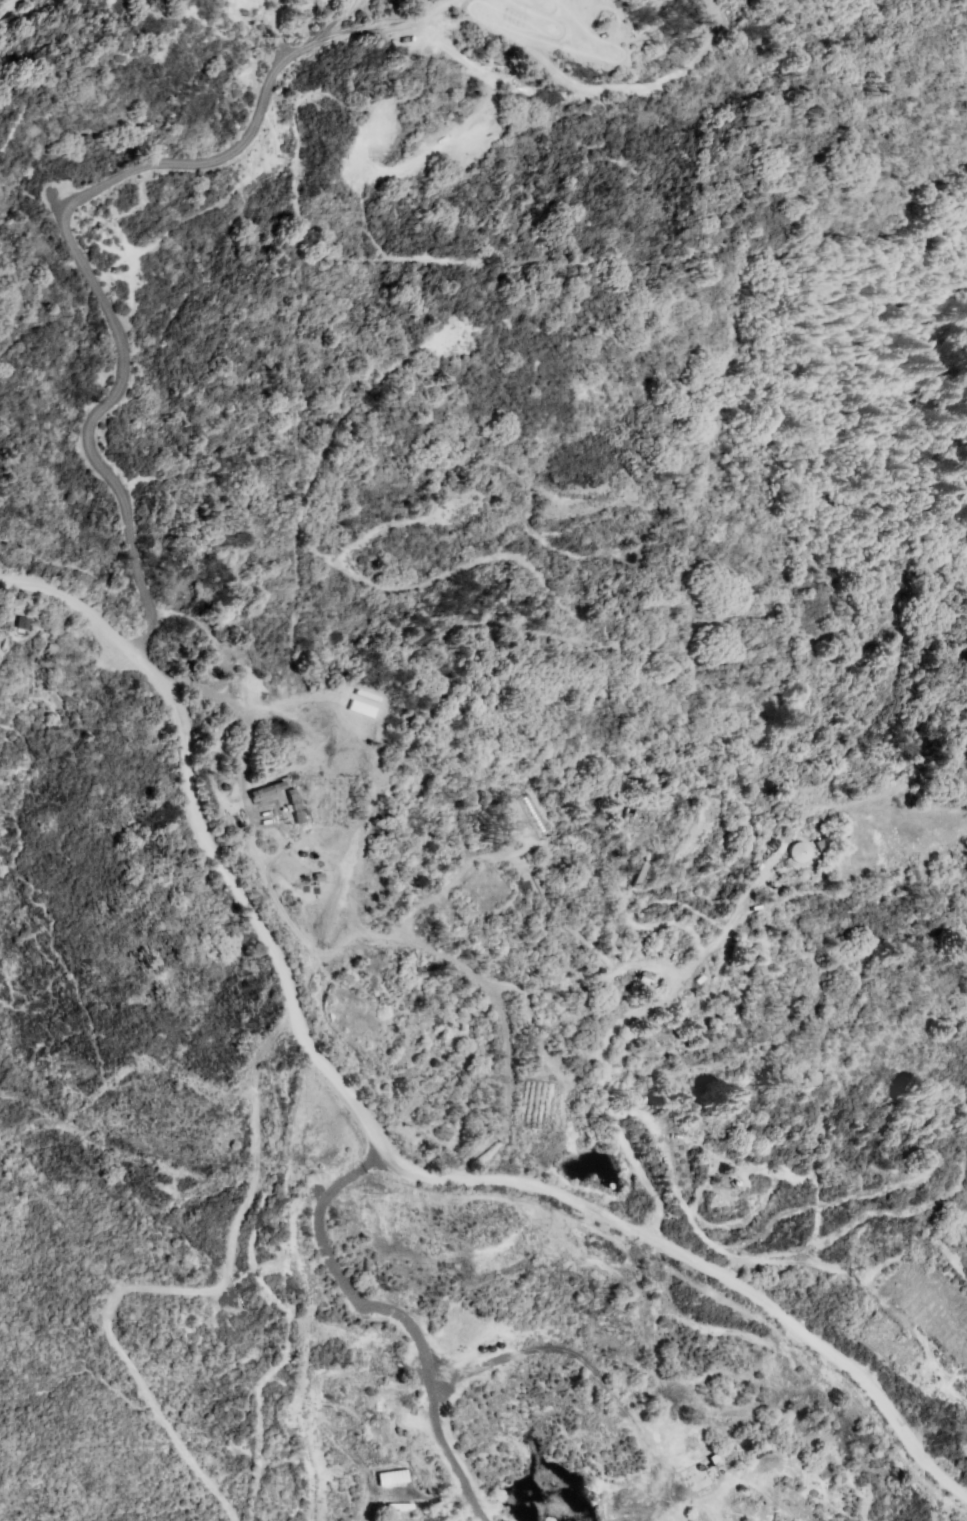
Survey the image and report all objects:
road: (14, 10)
road: (428, 14)
road: (336, 15)
road: (268, 29)
road: (204, 162)
road: (51, 197)
road: (333, 418)
road: (498, 550)
building: (21, 623)
road: (232, 710)
road: (370, 763)
building: (267, 791)
building: (293, 807)
building: (276, 810)
water tower: (800, 853)
road: (444, 887)
road: (485, 988)
road: (530, 1010)
road: (621, 1024)
crop: (532, 1106)
road: (380, 1140)
road: (786, 1263)
road: (397, 1316)
crop: (922, 1319)
road: (594, 1374)
building: (699, 1474)
building: (387, 1476)
building: (776, 1517)

